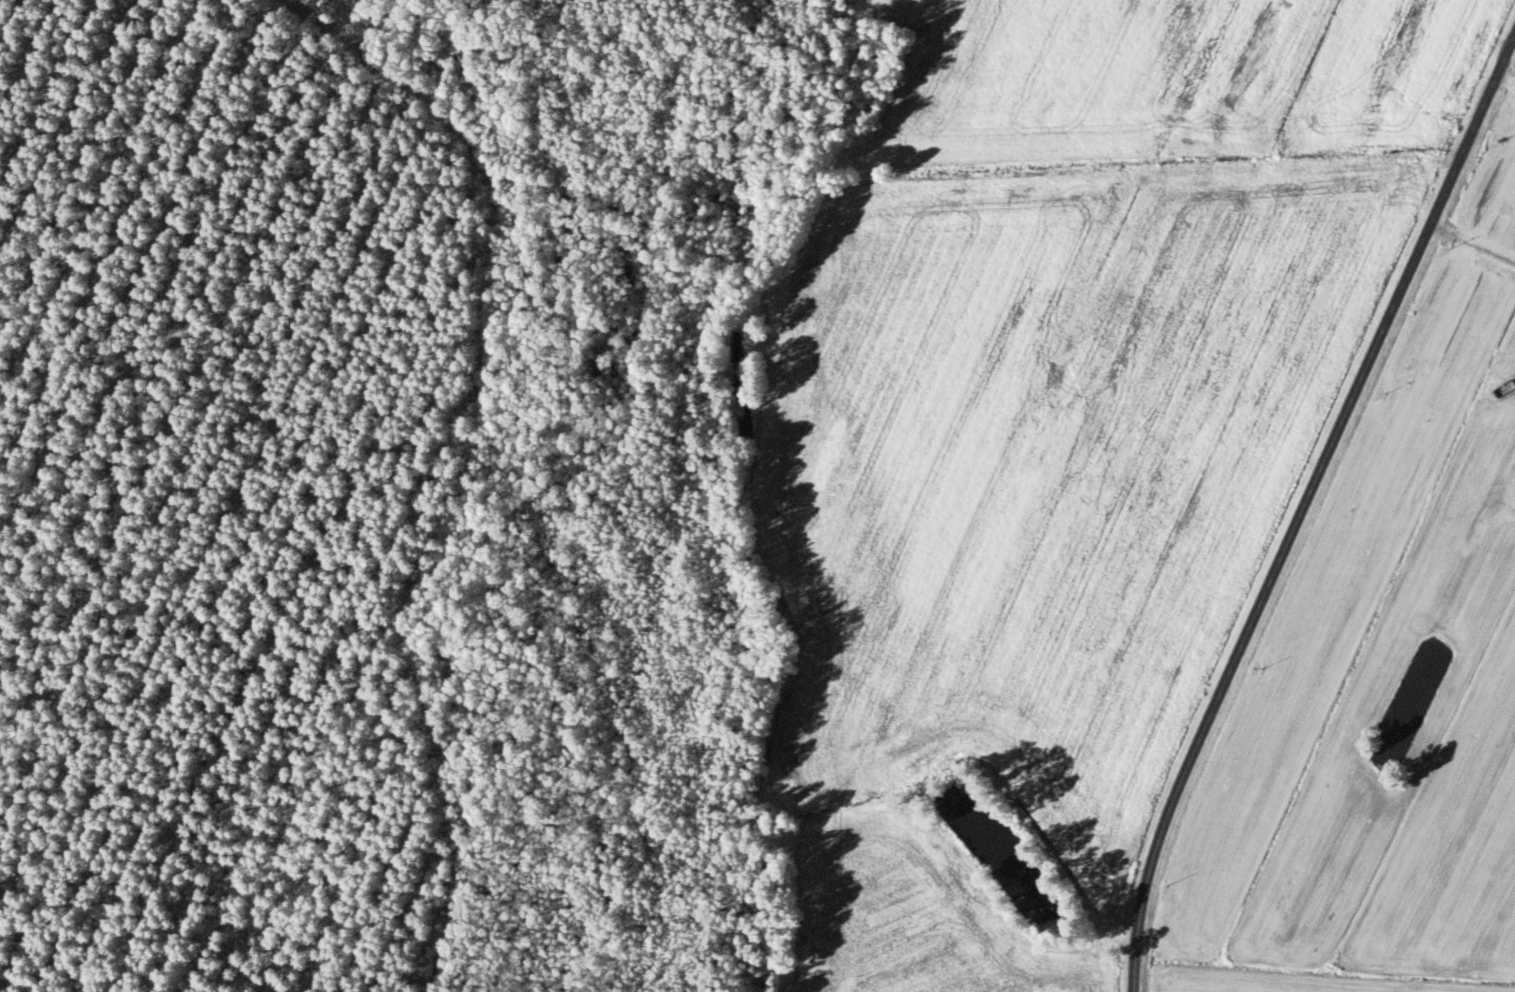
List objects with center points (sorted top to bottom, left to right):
road: (1304, 509)

